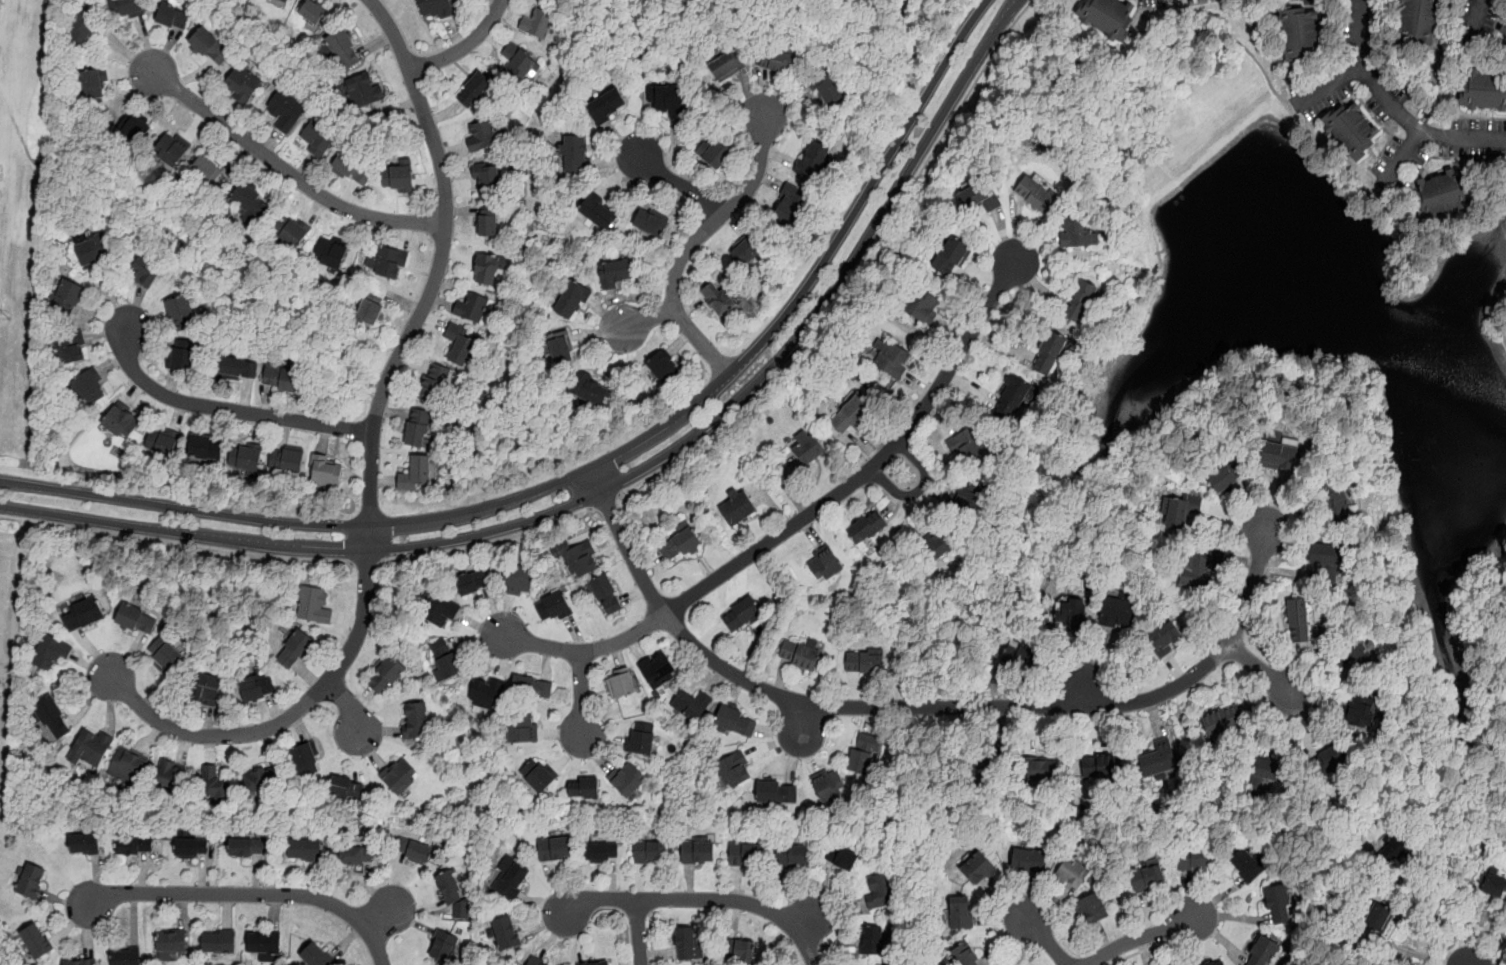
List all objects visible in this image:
building: (284, 1)
road: (957, 2)
building: (434, 8)
building: (125, 9)
building: (313, 14)
road: (1475, 16)
building: (172, 17)
building: (1109, 17)
building: (1419, 20)
building: (537, 24)
building: (1503, 29)
building: (84, 30)
building: (1301, 34)
road: (464, 46)
building: (210, 47)
building: (344, 49)
road: (1019, 50)
building: (777, 60)
building: (518, 61)
building: (727, 65)
building: (242, 84)
building: (92, 85)
road: (1332, 85)
building: (826, 88)
building: (474, 89)
building: (363, 91)
building: (1484, 91)
building: (668, 98)
building: (608, 106)
road: (1397, 106)
building: (285, 108)
road: (1305, 128)
building: (1350, 129)
building: (136, 130)
building: (482, 135)
building: (317, 138)
building: (171, 150)
building: (714, 151)
building: (577, 153)
road: (1403, 156)
building: (811, 158)
road: (281, 166)
building: (353, 169)
building: (205, 170)
building: (398, 177)
building: (487, 178)
road: (680, 184)
building: (1035, 193)
building: (1439, 193)
building: (978, 197)
building: (245, 202)
building: (791, 204)
building: (599, 211)
building: (489, 221)
building: (650, 222)
building: (1078, 231)
building: (291, 233)
road: (183, 239)
road: (693, 241)
building: (745, 248)
building: (92, 250)
building: (332, 251)
building: (952, 256)
road: (439, 260)
building: (387, 263)
building: (485, 269)
building: (145, 272)
building: (614, 273)
road: (857, 275)
building: (68, 295)
building: (716, 297)
building: (1079, 300)
building: (572, 301)
building: (923, 306)
building: (471, 308)
building: (371, 311)
road: (1500, 313)
building: (181, 314)
power tower: (3, 319)
road: (646, 320)
building: (458, 347)
building: (72, 348)
building: (561, 348)
building: (1049, 353)
building: (181, 360)
building: (893, 361)
building: (663, 368)
building: (238, 369)
building: (283, 377)
building: (433, 384)
building: (89, 389)
building: (589, 390)
building: (1011, 398)
road: (222, 408)
building: (850, 416)
building: (121, 422)
building: (419, 429)
building: (966, 444)
building: (161, 445)
building: (203, 448)
building: (806, 448)
building: (1278, 457)
building: (244, 459)
building: (287, 460)
road: (600, 463)
road: (870, 465)
building: (327, 473)
building: (415, 473)
building: (1227, 475)
road: (620, 481)
road: (918, 493)
building: (965, 500)
road: (606, 502)
building: (1334, 504)
building: (736, 508)
building: (1181, 509)
building: (866, 528)
building: (935, 542)
building: (678, 543)
road: (176, 544)
road: (488, 544)
building: (1324, 556)
building: (582, 560)
road: (367, 564)
building: (823, 564)
building: (1198, 566)
building: (518, 581)
building: (473, 584)
building: (606, 595)
building: (313, 605)
building: (1073, 607)
building: (553, 608)
building: (442, 612)
building: (1116, 612)
building: (741, 614)
building: (83, 615)
building: (136, 619)
building: (1298, 619)
building: (1164, 637)
building: (295, 649)
road: (582, 652)
building: (54, 653)
building: (1017, 653)
building: (165, 655)
building: (798, 655)
building: (1359, 655)
building: (444, 659)
building: (861, 663)
road: (1485, 667)
building: (657, 669)
road: (1261, 672)
building: (386, 675)
building: (621, 683)
building: (257, 687)
building: (206, 688)
building: (532, 688)
building: (486, 692)
road: (581, 701)
building: (690, 706)
road: (351, 707)
road: (924, 708)
building: (1361, 709)
road: (292, 715)
building: (53, 719)
building: (416, 720)
building: (1223, 720)
building: (736, 722)
building: (522, 728)
road: (1360, 735)
building: (641, 739)
building: (90, 748)
building: (863, 756)
building: (1157, 759)
building: (305, 760)
building: (1330, 761)
building: (1102, 765)
building: (987, 766)
building: (128, 767)
building: (1266, 769)
building: (735, 770)
building: (1041, 770)
building: (538, 774)
building: (169, 776)
building: (399, 776)
building: (627, 780)
building: (263, 781)
building: (213, 785)
building: (828, 786)
building: (346, 787)
building: (583, 788)
building: (776, 792)
building: (83, 843)
building: (1397, 843)
building: (133, 845)
building: (191, 847)
building: (247, 847)
building: (304, 849)
building: (697, 849)
building: (554, 850)
building: (413, 851)
building: (650, 851)
building: (600, 852)
building: (746, 854)
building: (356, 855)
building: (792, 855)
building: (842, 857)
building: (1194, 859)
building: (1027, 861)
building: (1246, 864)
building: (977, 869)
building: (1072, 874)
building: (1147, 876)
building: (511, 878)
building: (30, 879)
building: (1494, 885)
building: (449, 887)
building: (879, 889)
road: (247, 894)
road: (699, 901)
building: (1278, 904)
building: (1092, 910)
building: (961, 913)
road: (1440, 914)
building: (1379, 915)
road: (639, 932)
building: (506, 933)
road: (1143, 937)
road: (652, 938)
building: (872, 938)
road: (1043, 939)
building: (35, 940)
building: (219, 940)
building: (170, 943)
building: (264, 943)
building: (687, 943)
building: (442, 945)
road: (1147, 949)
building: (740, 950)
building: (1261, 951)
building: (317, 955)
building: (965, 955)
building: (127, 956)
building: (79, 962)
building: (536, 962)
building: (1214, 962)
building: (600, 963)
building: (1171, 964)

